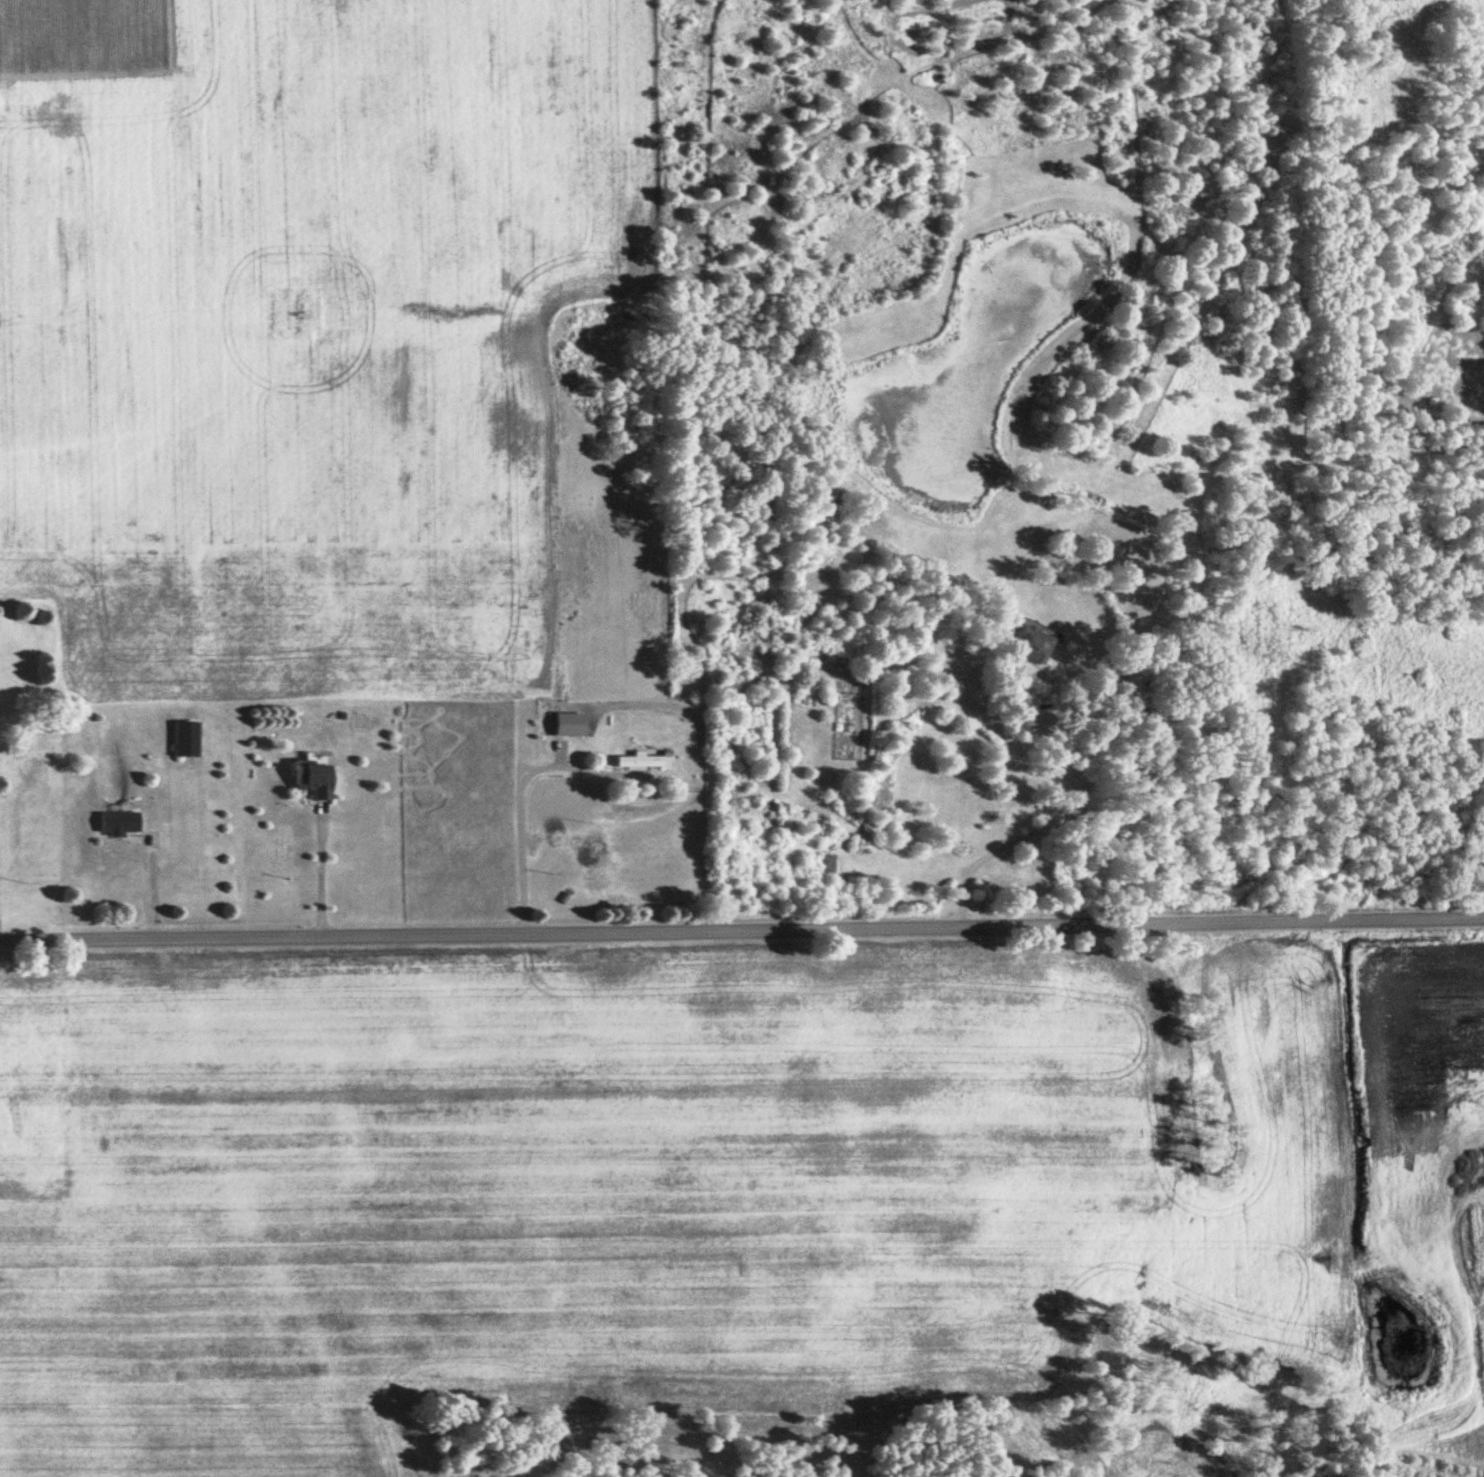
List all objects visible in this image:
building: (1034, 643)
building: (569, 724)
building: (185, 740)
building: (641, 760)
building: (312, 778)
road: (534, 819)
building: (119, 824)
road: (1045, 825)
road: (335, 875)
road: (741, 929)

